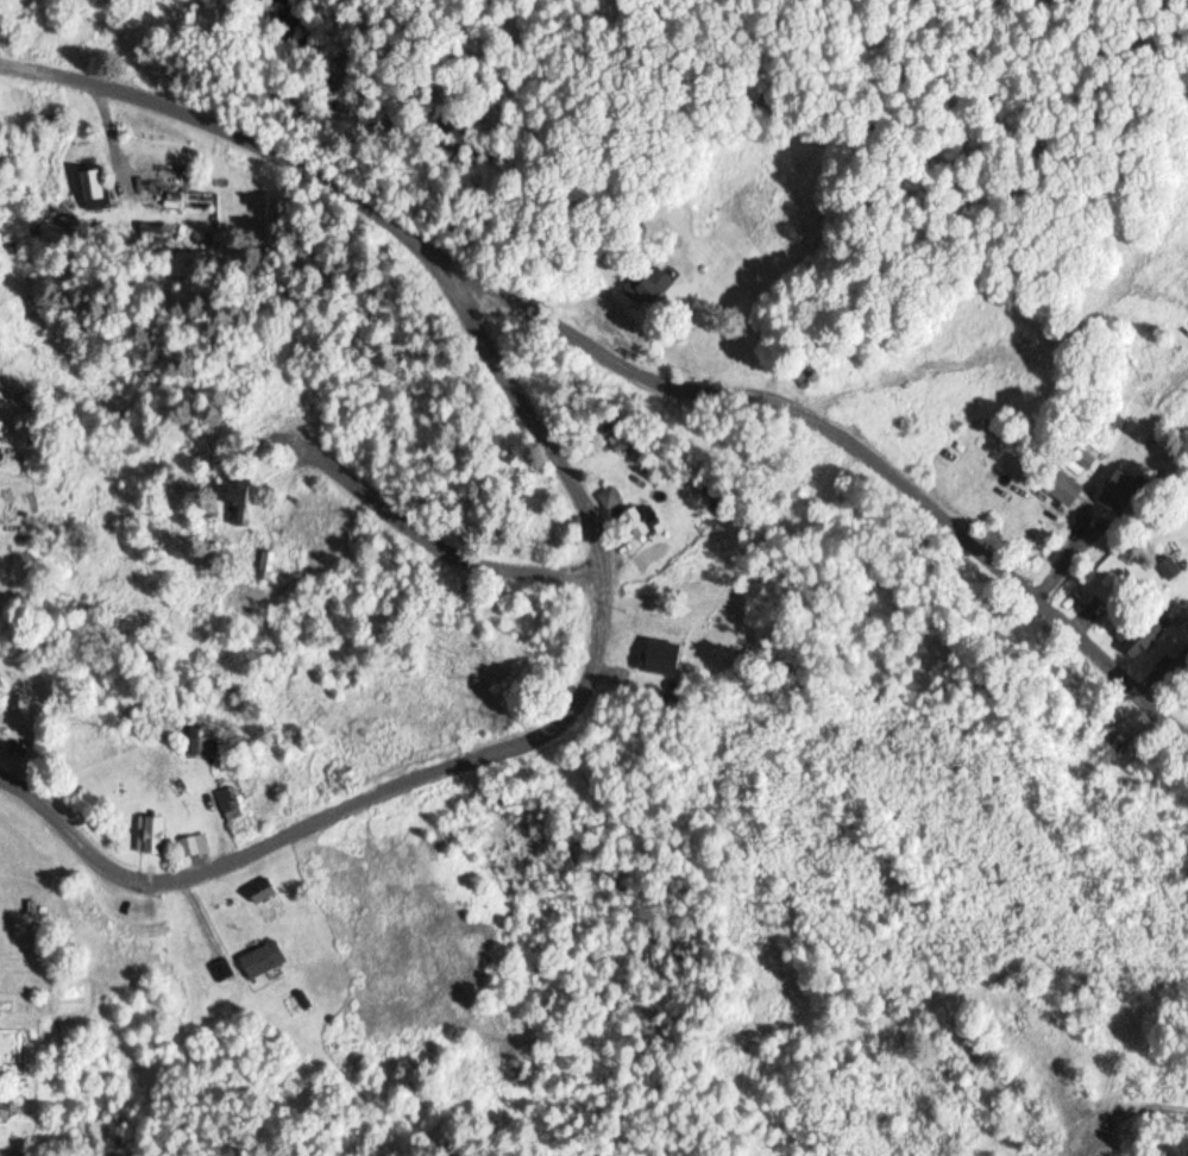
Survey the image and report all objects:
building: (95, 190)
building: (653, 285)
road: (615, 357)
building: (1067, 489)
building: (1124, 494)
building: (611, 497)
building: (241, 498)
building: (635, 516)
road: (425, 542)
building: (1136, 637)
building: (1174, 668)
building: (195, 745)
road: (496, 746)
building: (228, 802)
building: (152, 836)
building: (196, 846)
building: (264, 891)
building: (31, 917)
building: (268, 959)

